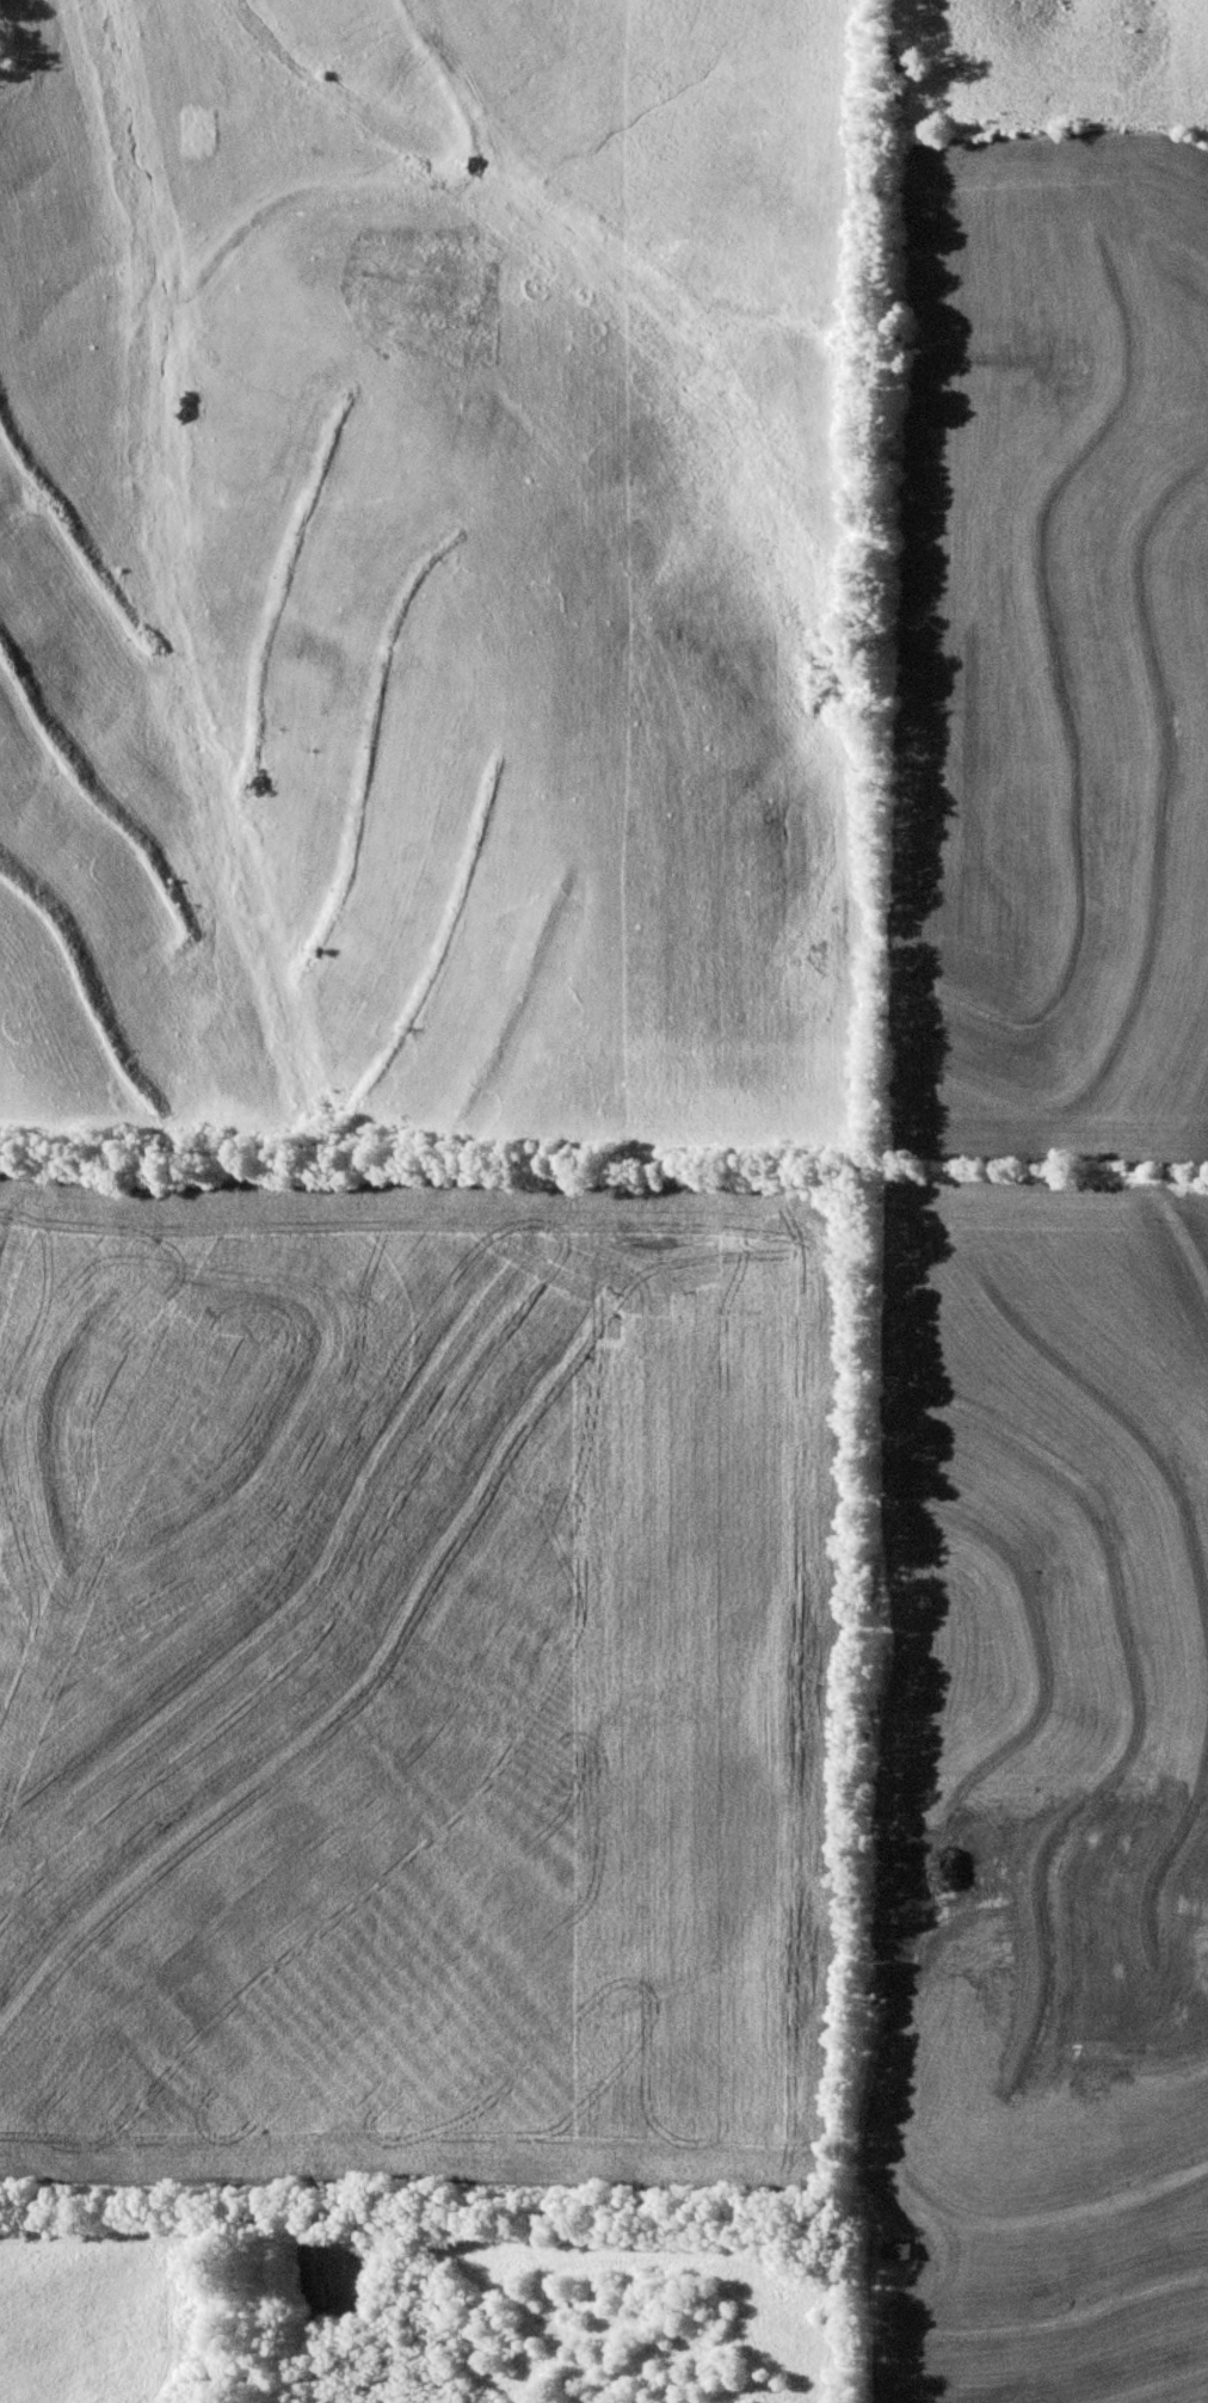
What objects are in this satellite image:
building: (898, 2250)

